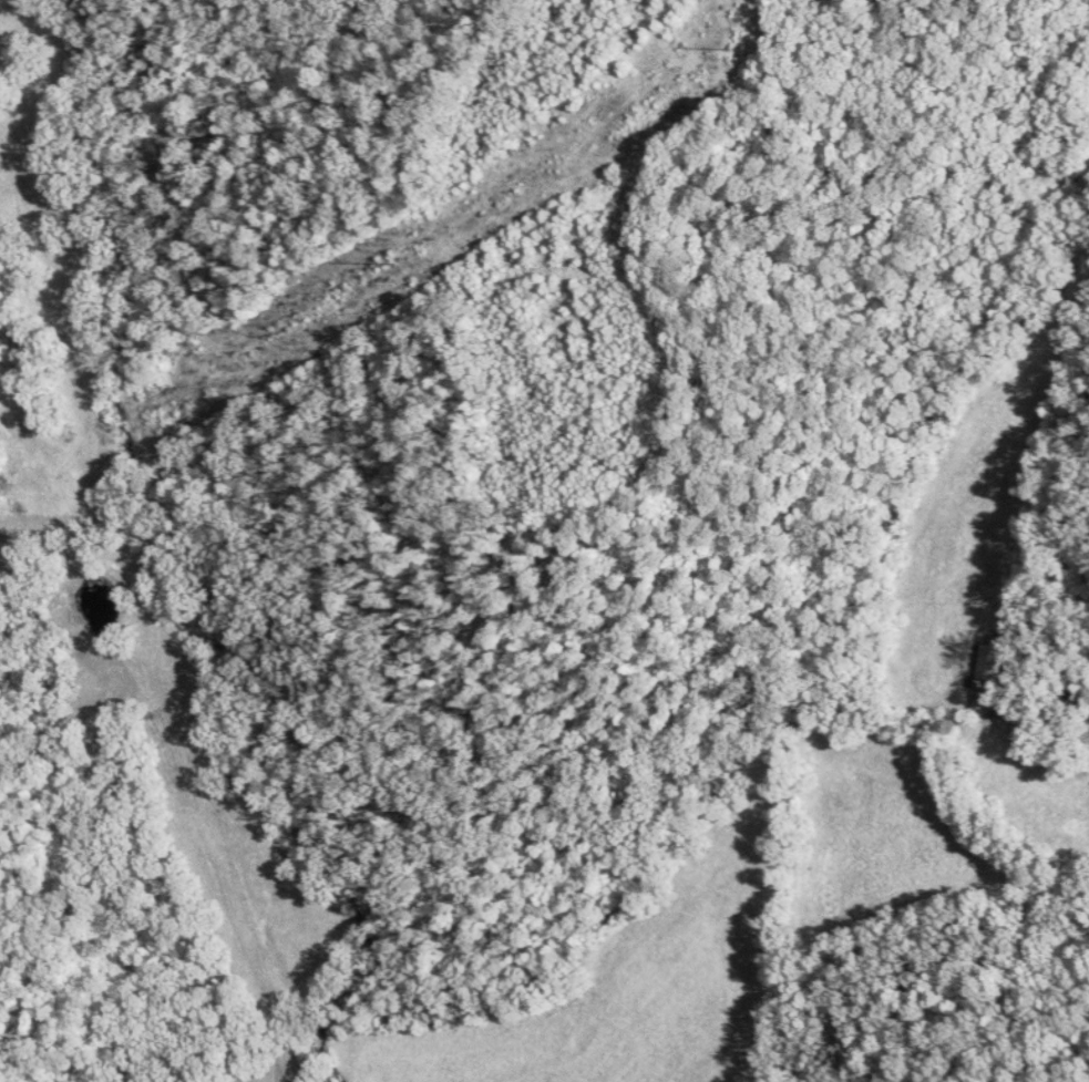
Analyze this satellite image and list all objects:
building: (994, 662)

